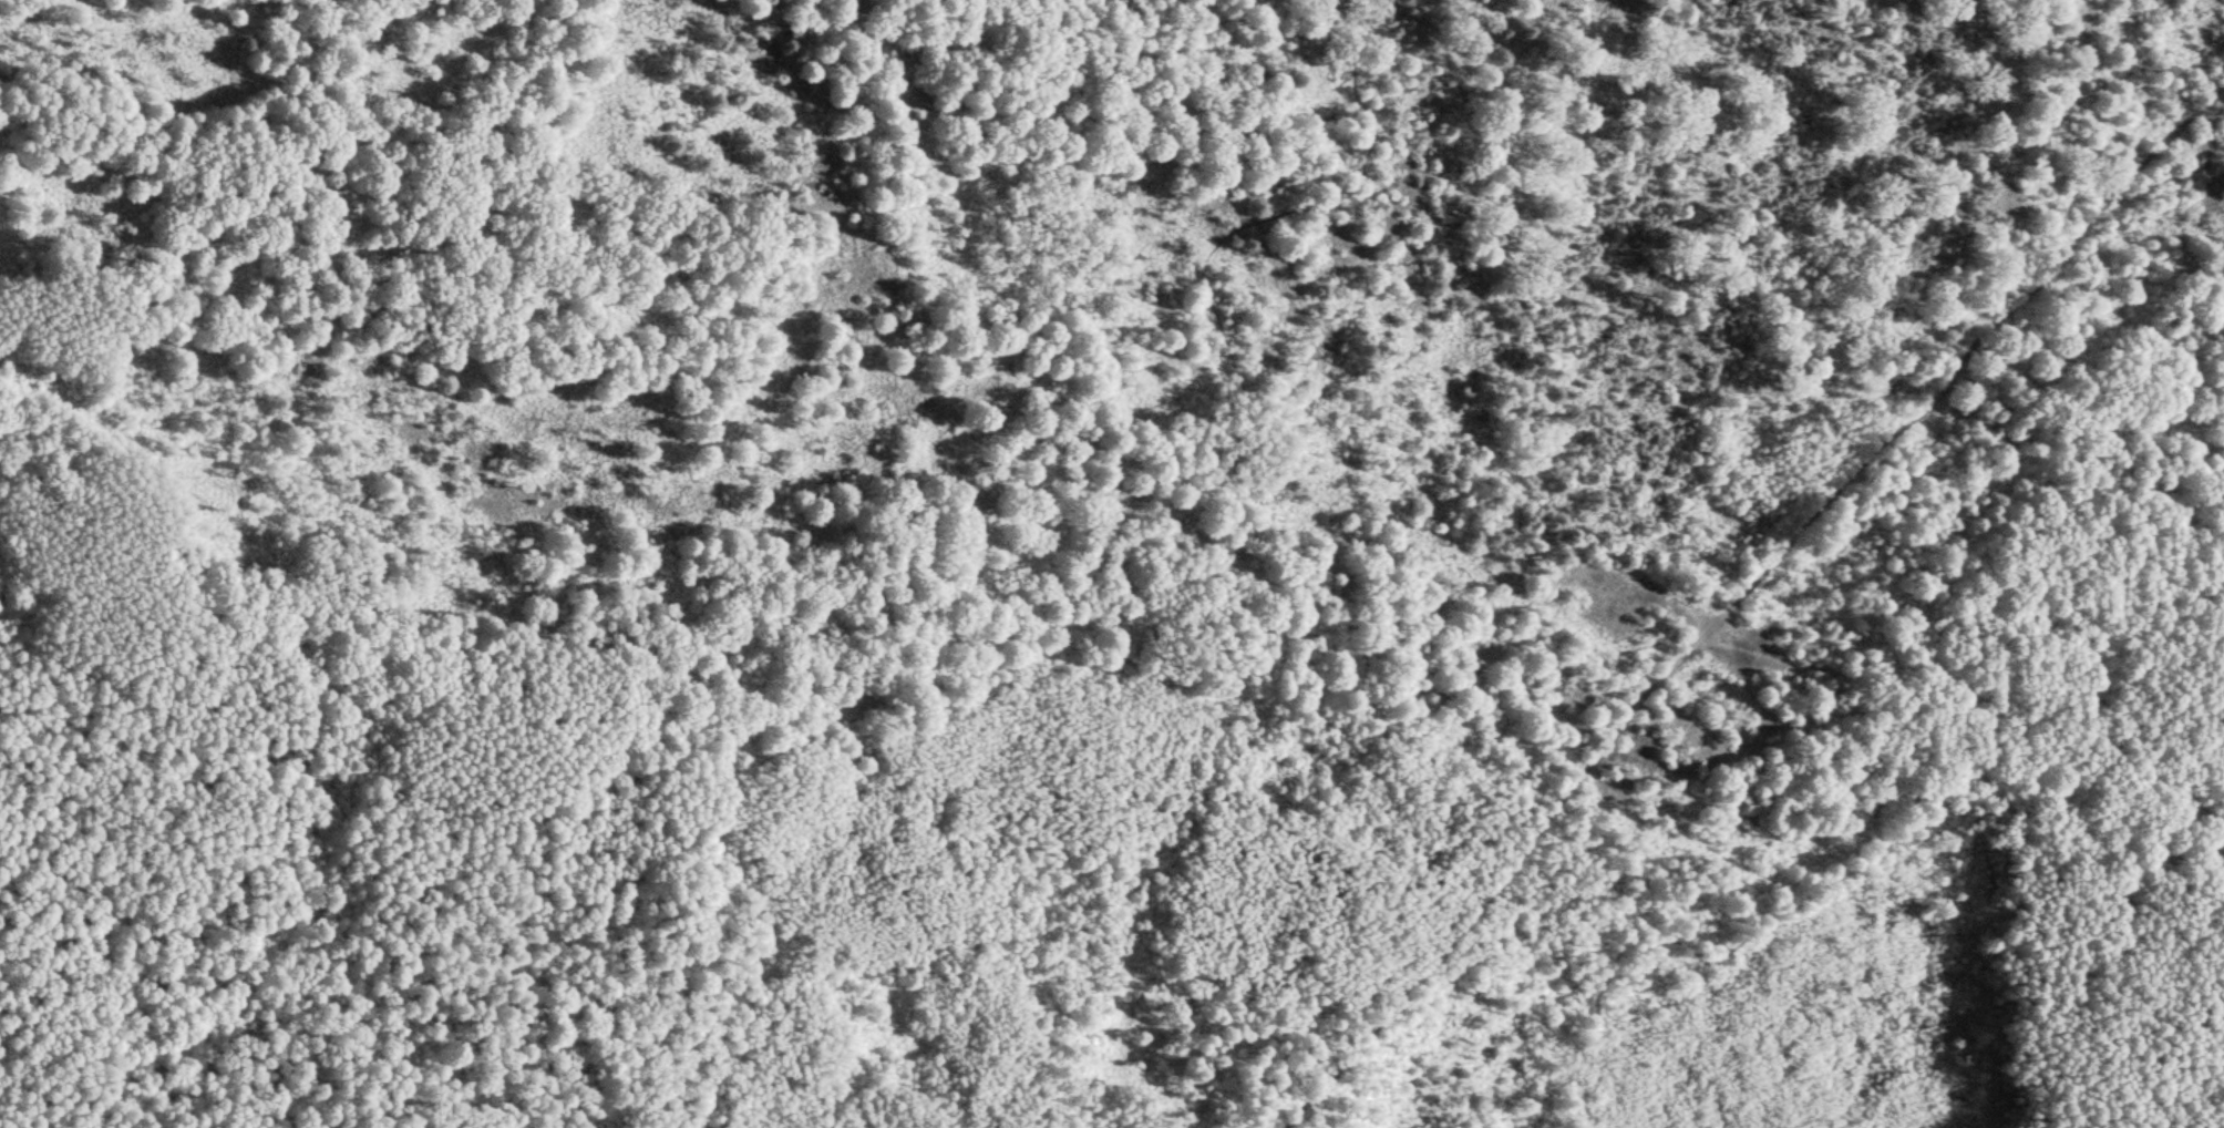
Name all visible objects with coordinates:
road: (1172, 38)
road: (1466, 120)
road: (1743, 592)
road: (1754, 649)

